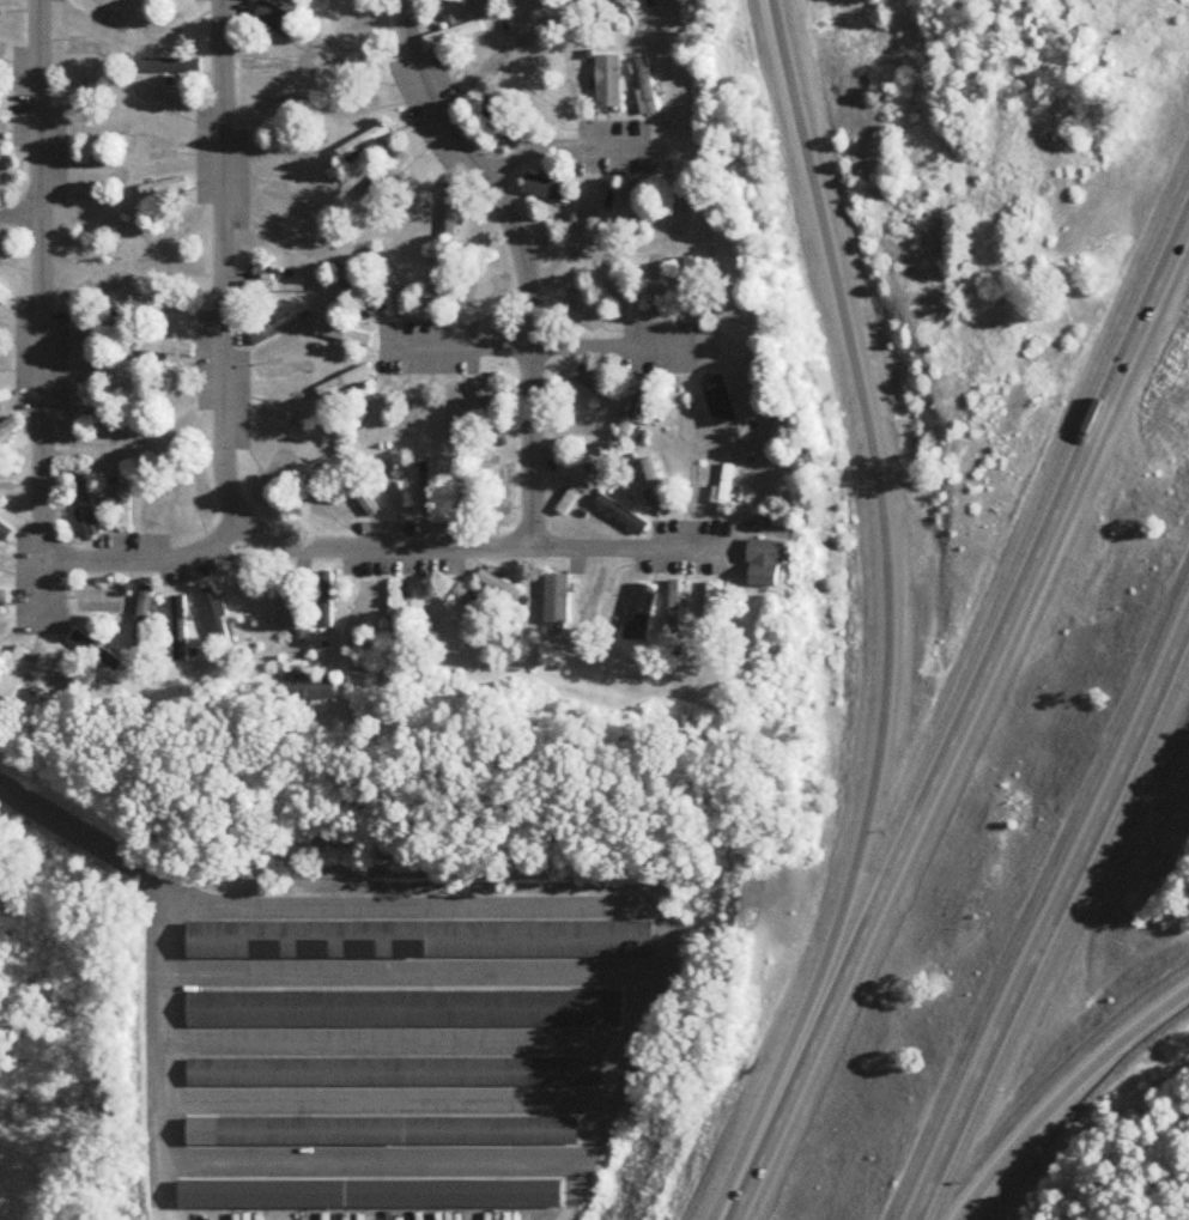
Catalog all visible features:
building: (459, 1)
building: (12, 5)
building: (496, 8)
building: (624, 14)
building: (277, 19)
building: (580, 20)
building: (454, 34)
building: (172, 66)
building: (608, 83)
building: (647, 87)
building: (0, 96)
building: (274, 108)
building: (545, 108)
building: (503, 121)
building: (364, 141)
road: (560, 150)
building: (283, 152)
building: (387, 177)
building: (164, 188)
building: (545, 189)
building: (453, 208)
building: (636, 208)
building: (597, 211)
road: (18, 214)
building: (169, 230)
building: (90, 255)
road: (522, 260)
road: (223, 262)
building: (617, 284)
building: (431, 286)
building: (274, 287)
building: (690, 287)
building: (390, 290)
building: (357, 293)
building: (2, 298)
road: (38, 315)
building: (277, 330)
building: (96, 334)
building: (344, 336)
road: (609, 348)
building: (165, 351)
road: (459, 351)
building: (283, 372)
building: (345, 383)
building: (590, 384)
building: (4, 400)
building: (723, 405)
building: (487, 407)
building: (376, 408)
building: (635, 412)
building: (674, 412)
building: (285, 418)
building: (102, 420)
building: (8, 430)
building: (655, 486)
building: (433, 490)
building: (358, 492)
building: (572, 493)
building: (726, 494)
building: (505, 496)
building: (125, 504)
building: (158, 506)
building: (621, 515)
road: (261, 533)
building: (4, 534)
road: (629, 550)
building: (4, 564)
building: (765, 564)
building: (501, 585)
building: (4, 597)
building: (465, 600)
building: (558, 600)
building: (326, 601)
building: (286, 606)
building: (398, 608)
building: (675, 608)
building: (712, 609)
building: (433, 613)
building: (641, 614)
building: (144, 615)
building: (217, 617)
road: (884, 619)
building: (180, 631)
building: (97, 653)
building: (16, 675)
building: (310, 688)
road: (960, 721)
road: (69, 830)
road: (1050, 916)
building: (420, 935)
road: (417, 967)
building: (406, 1004)
road: (405, 1042)
building: (400, 1070)
road: (623, 1091)
road: (1066, 1098)
building: (384, 1127)
road: (164, 1152)
road: (377, 1163)
road: (588, 1164)
building: (377, 1190)

